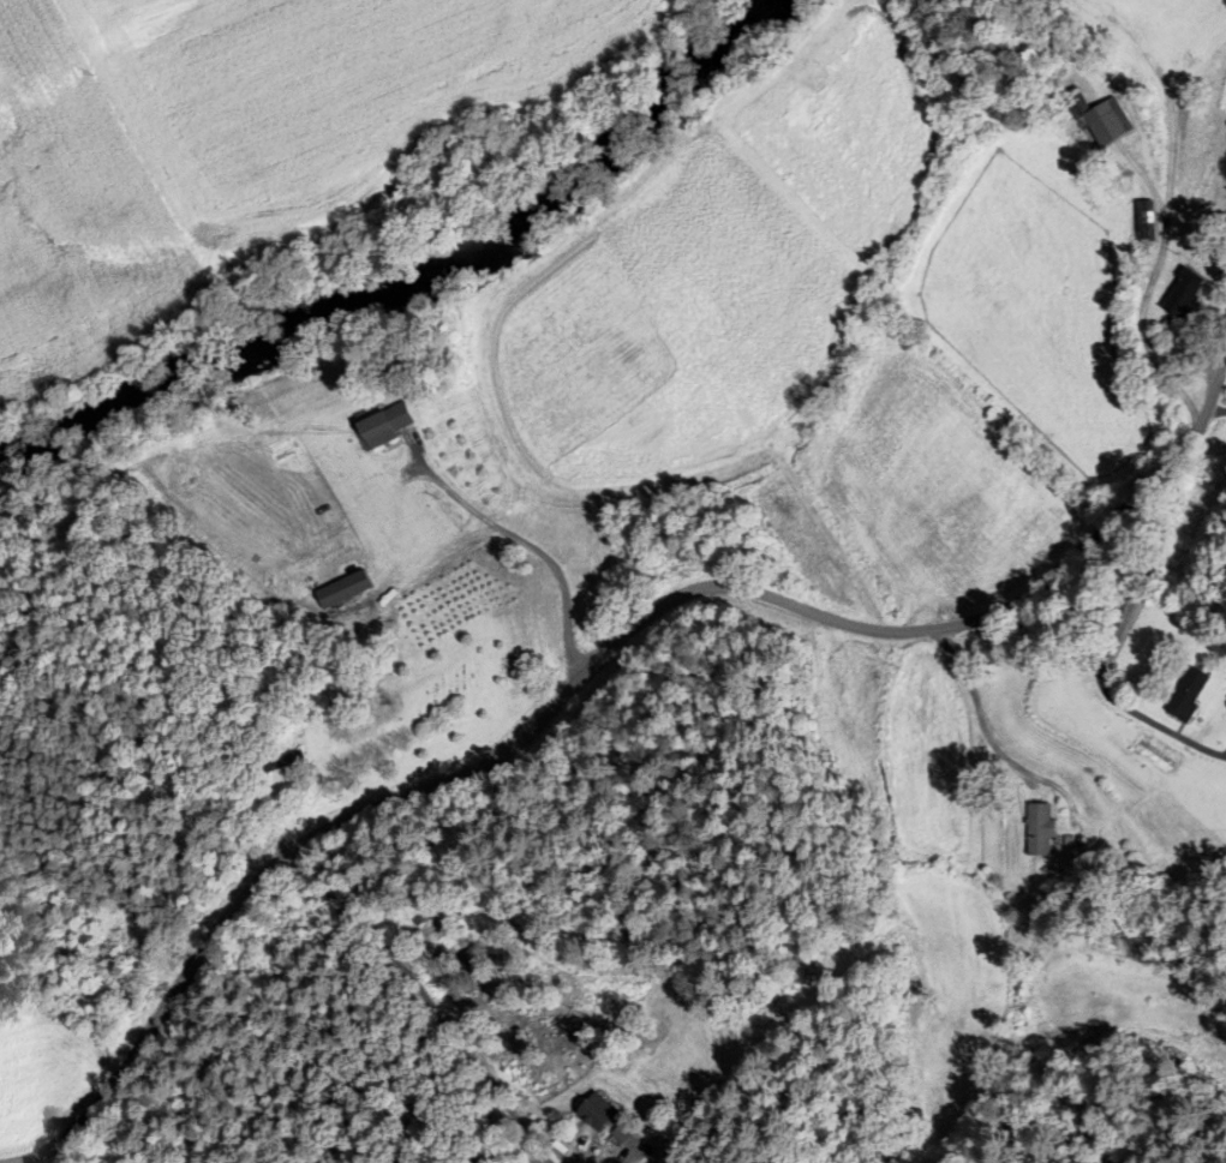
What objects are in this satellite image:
building: (1099, 120)
building: (1143, 214)
river: (413, 274)
building: (1182, 295)
road: (1214, 414)
building: (384, 426)
road: (526, 545)
building: (341, 591)
road: (599, 653)
road: (1100, 660)
building: (1185, 695)
building: (283, 761)
building: (1037, 831)
road: (975, 833)
building: (932, 964)
road: (423, 1002)
building: (597, 1114)
road: (620, 1146)

